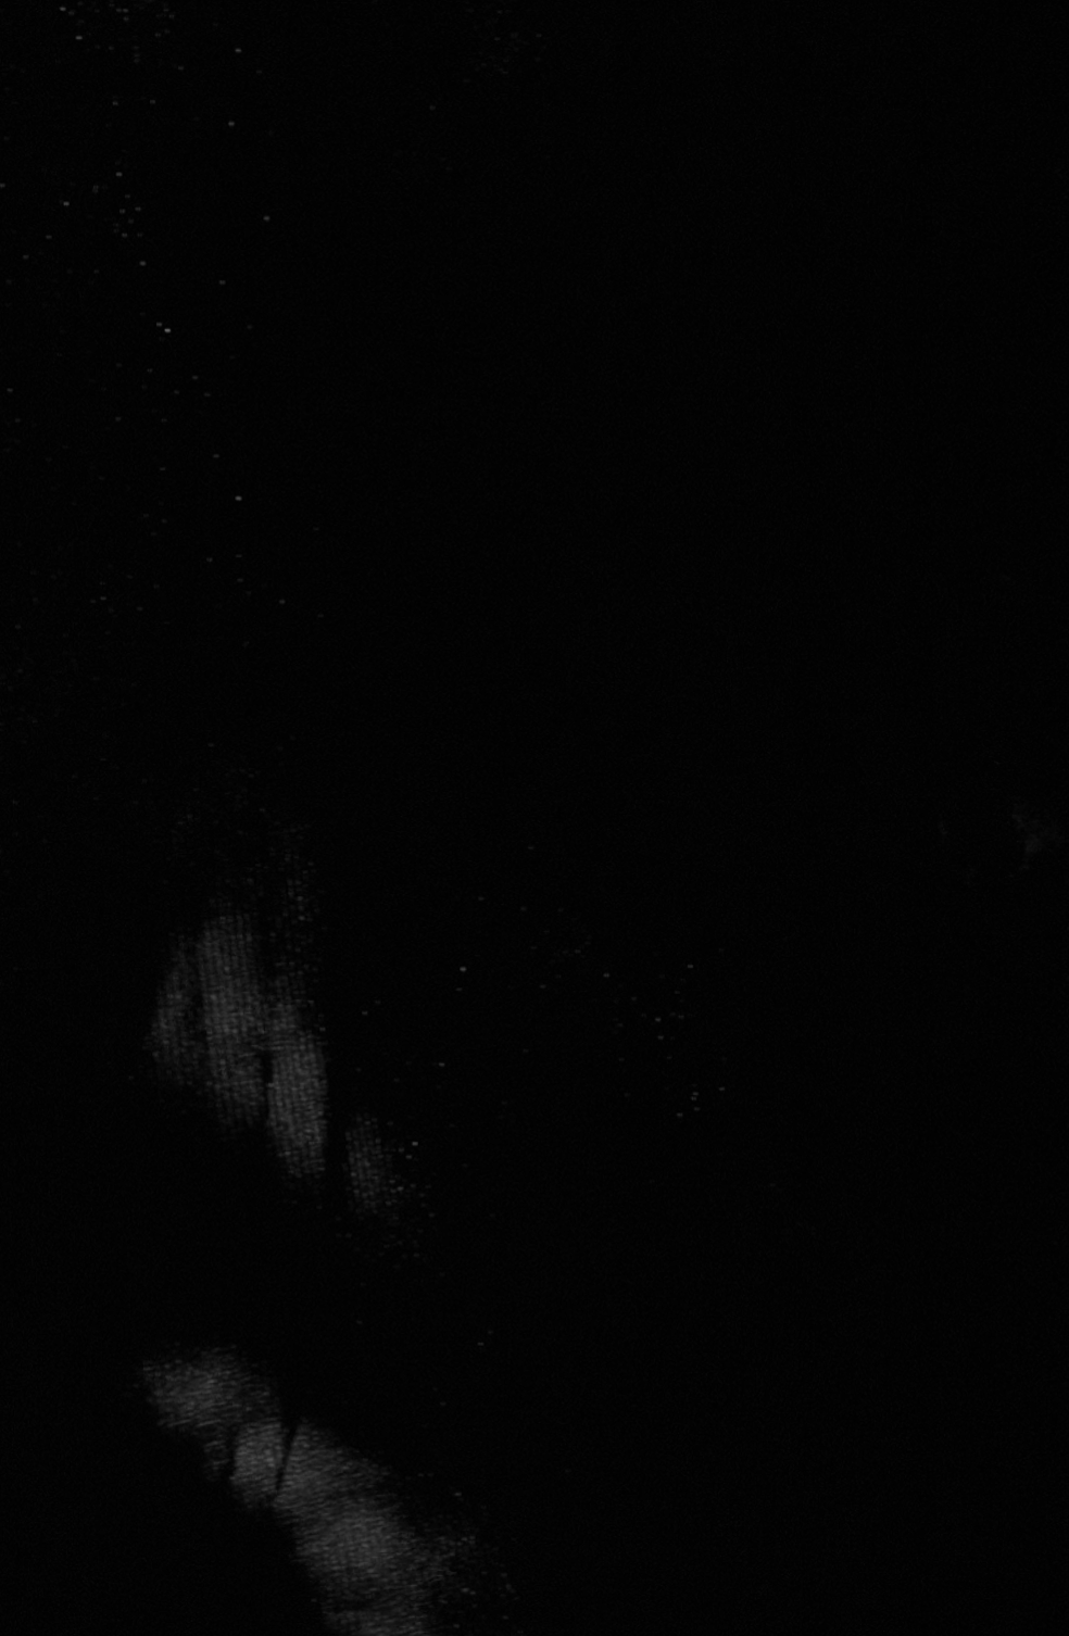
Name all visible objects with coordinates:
river: (237, 954)

